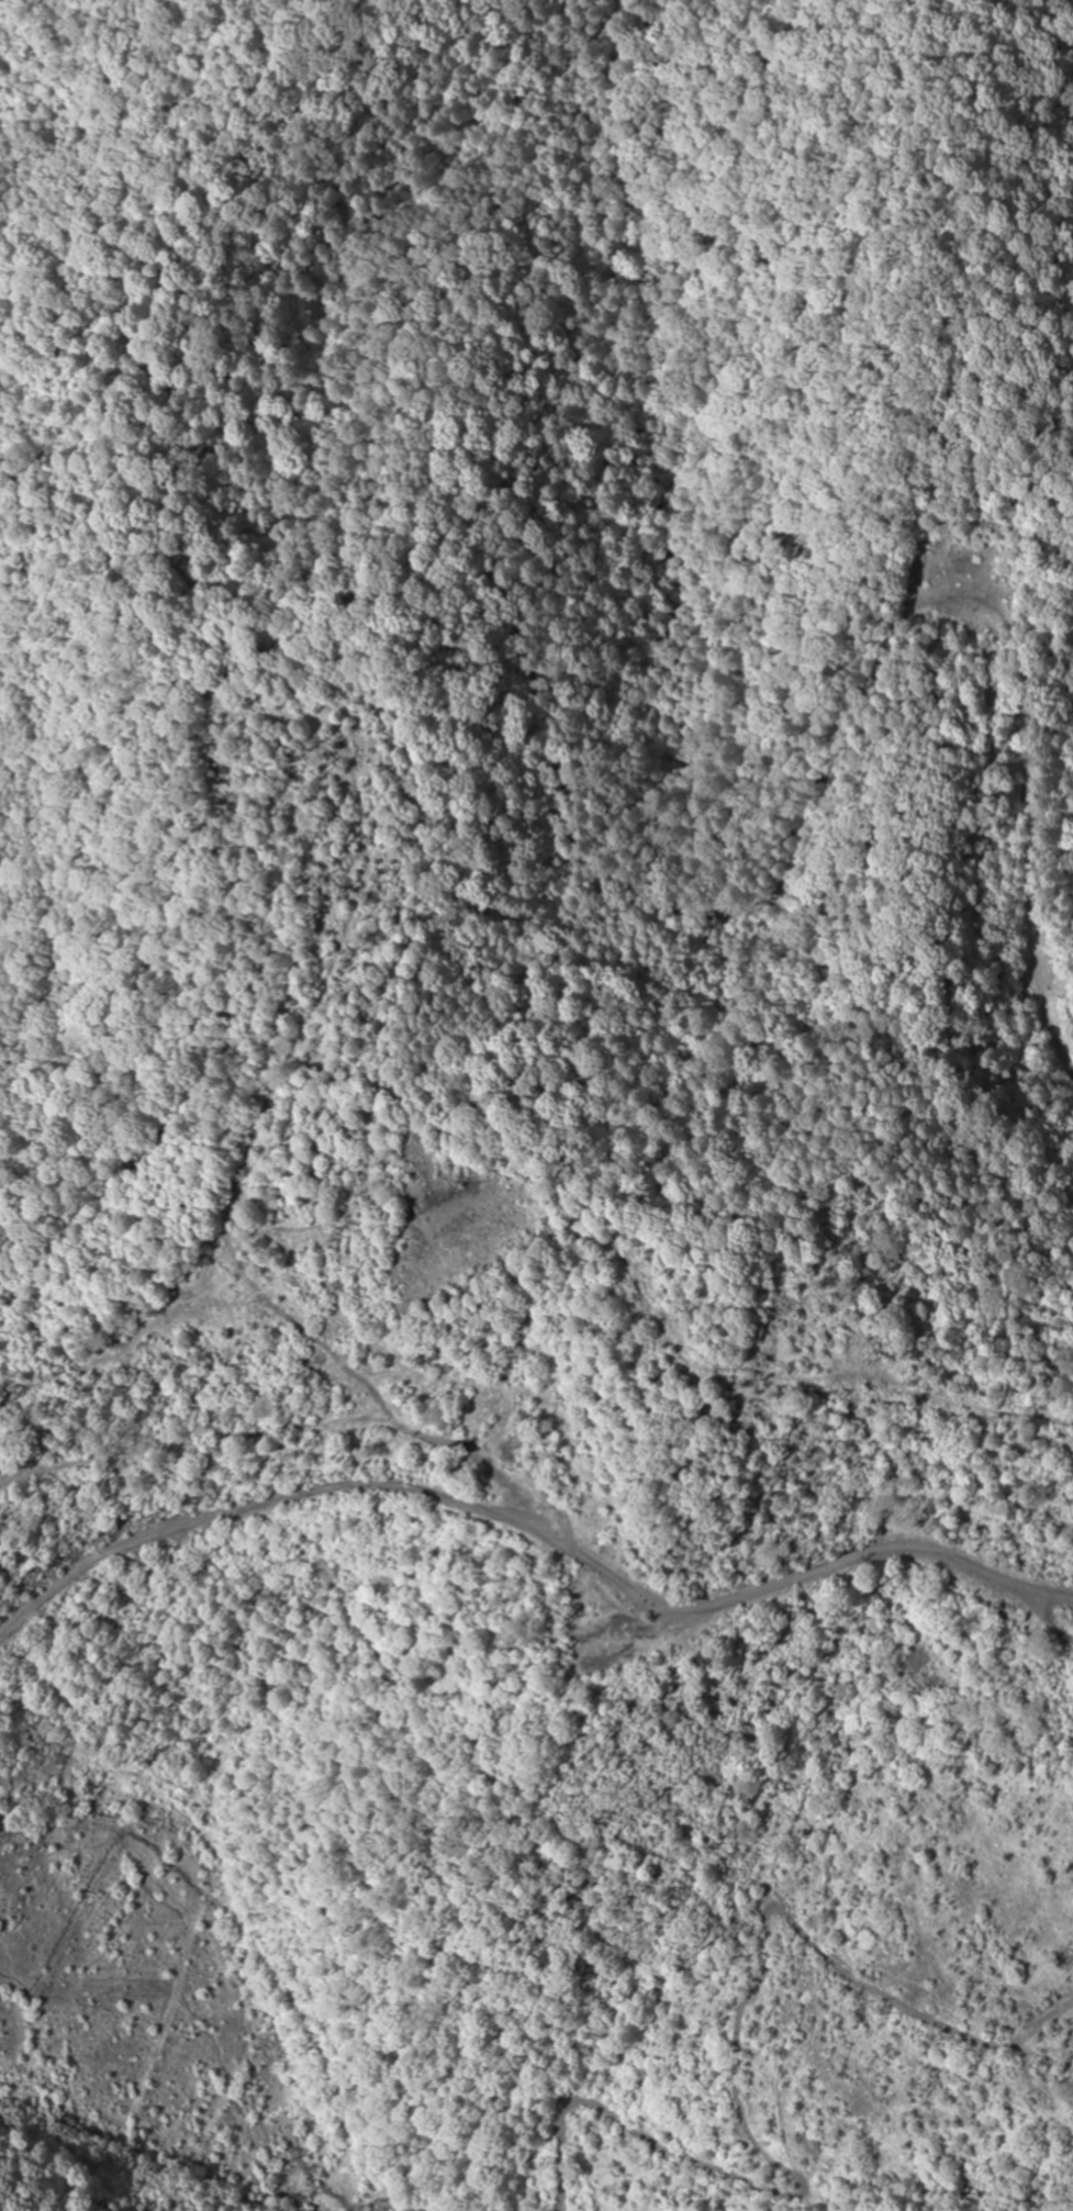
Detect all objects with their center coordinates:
road: (205, 49)

